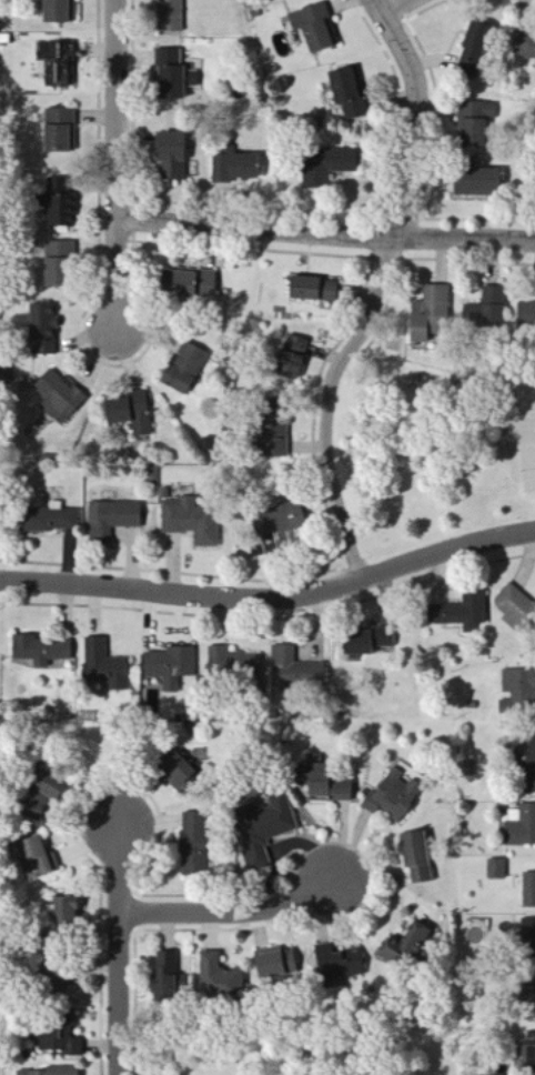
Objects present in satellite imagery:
road: (390, 6)
building: (58, 12)
building: (169, 16)
building: (314, 29)
building: (523, 49)
building: (472, 54)
building: (57, 64)
building: (172, 76)
building: (342, 87)
building: (354, 111)
building: (474, 121)
building: (55, 130)
building: (169, 158)
road: (119, 165)
building: (325, 168)
building: (58, 209)
road: (326, 233)
building: (55, 262)
building: (189, 283)
building: (312, 288)
road: (376, 291)
building: (486, 309)
building: (427, 310)
building: (525, 312)
building: (42, 329)
building: (434, 330)
building: (291, 356)
building: (184, 369)
building: (58, 393)
building: (129, 412)
building: (274, 436)
building: (112, 519)
building: (279, 519)
building: (50, 520)
building: (191, 521)
road: (271, 597)
building: (515, 605)
building: (461, 612)
building: (365, 642)
building: (39, 650)
building: (103, 665)
building: (235, 665)
building: (170, 666)
building: (294, 670)
building: (519, 689)
building: (524, 752)
building: (173, 770)
building: (44, 784)
building: (323, 784)
building: (527, 787)
building: (392, 795)
building: (521, 826)
building: (264, 830)
building: (192, 844)
building: (414, 856)
building: (39, 857)
building: (495, 868)
building: (527, 890)
road: (228, 908)
building: (64, 910)
building: (527, 938)
building: (406, 943)
road: (119, 948)
building: (273, 964)
building: (166, 977)
building: (219, 978)
building: (53, 988)
building: (529, 1007)
building: (61, 1038)
building: (52, 1072)

